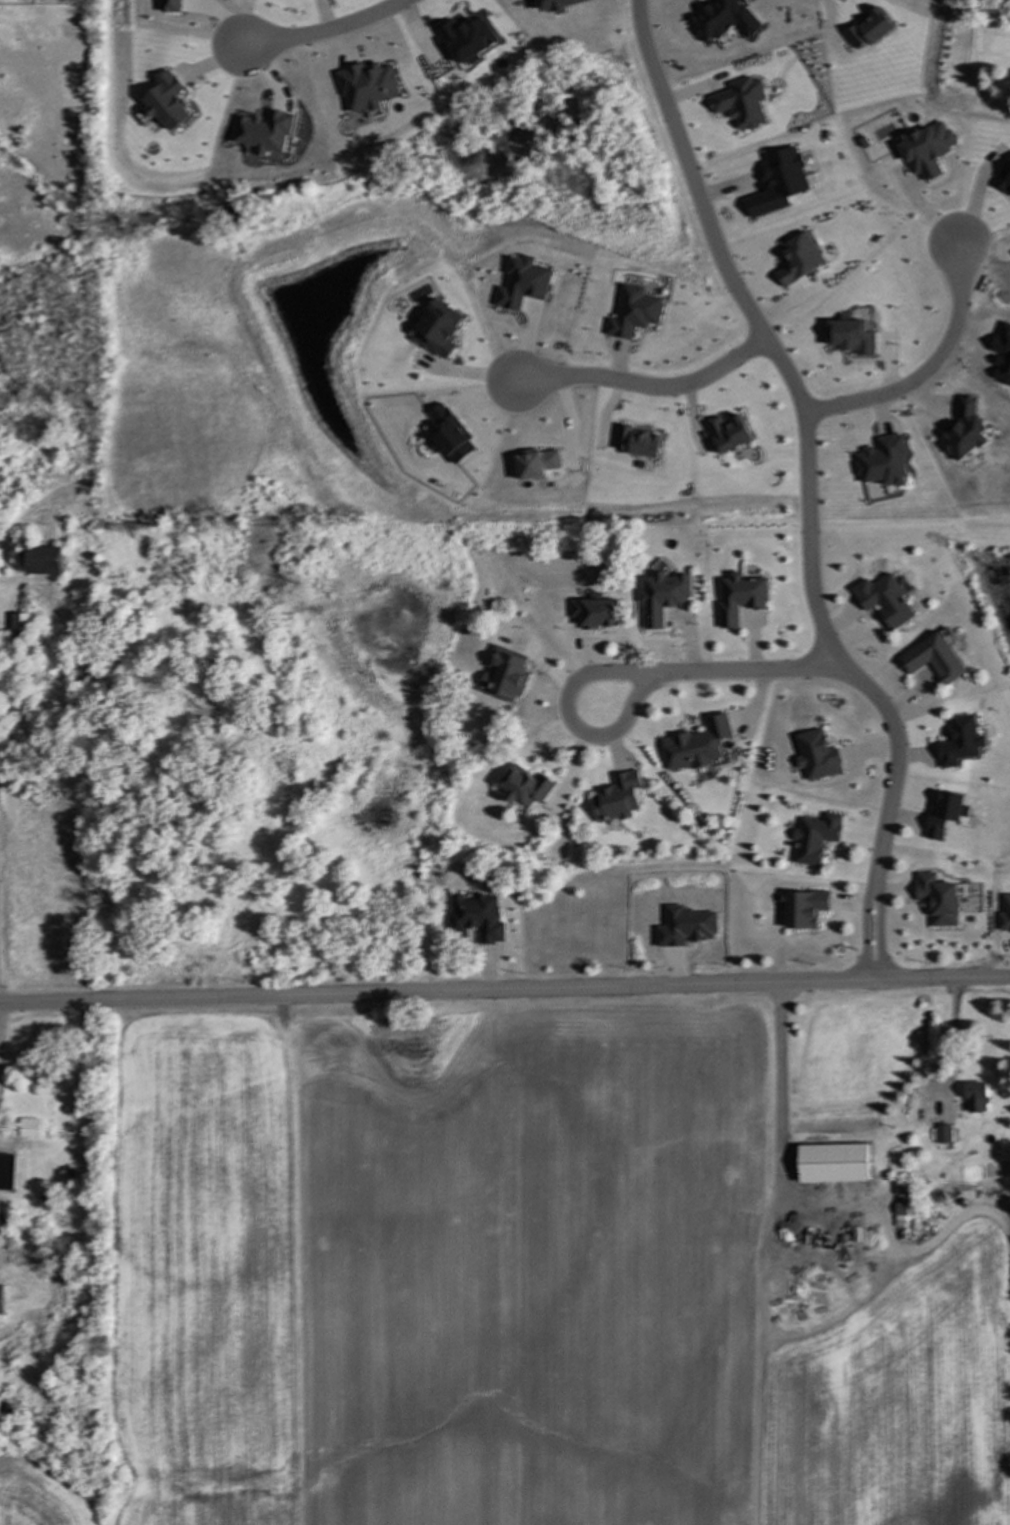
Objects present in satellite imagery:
road: (327, 30)
building: (999, 287)
road: (926, 367)
road: (647, 385)
road: (806, 487)
building: (44, 563)
building: (664, 600)
building: (886, 603)
building: (596, 615)
building: (21, 631)
road: (623, 673)
building: (618, 800)
building: (816, 840)
road: (504, 990)
road: (952, 1041)
building: (977, 1100)
building: (30, 1130)
building: (945, 1137)
building: (833, 1166)
building: (7, 1174)
road: (818, 1210)
crop: (506, 1287)
building: (3, 1303)

